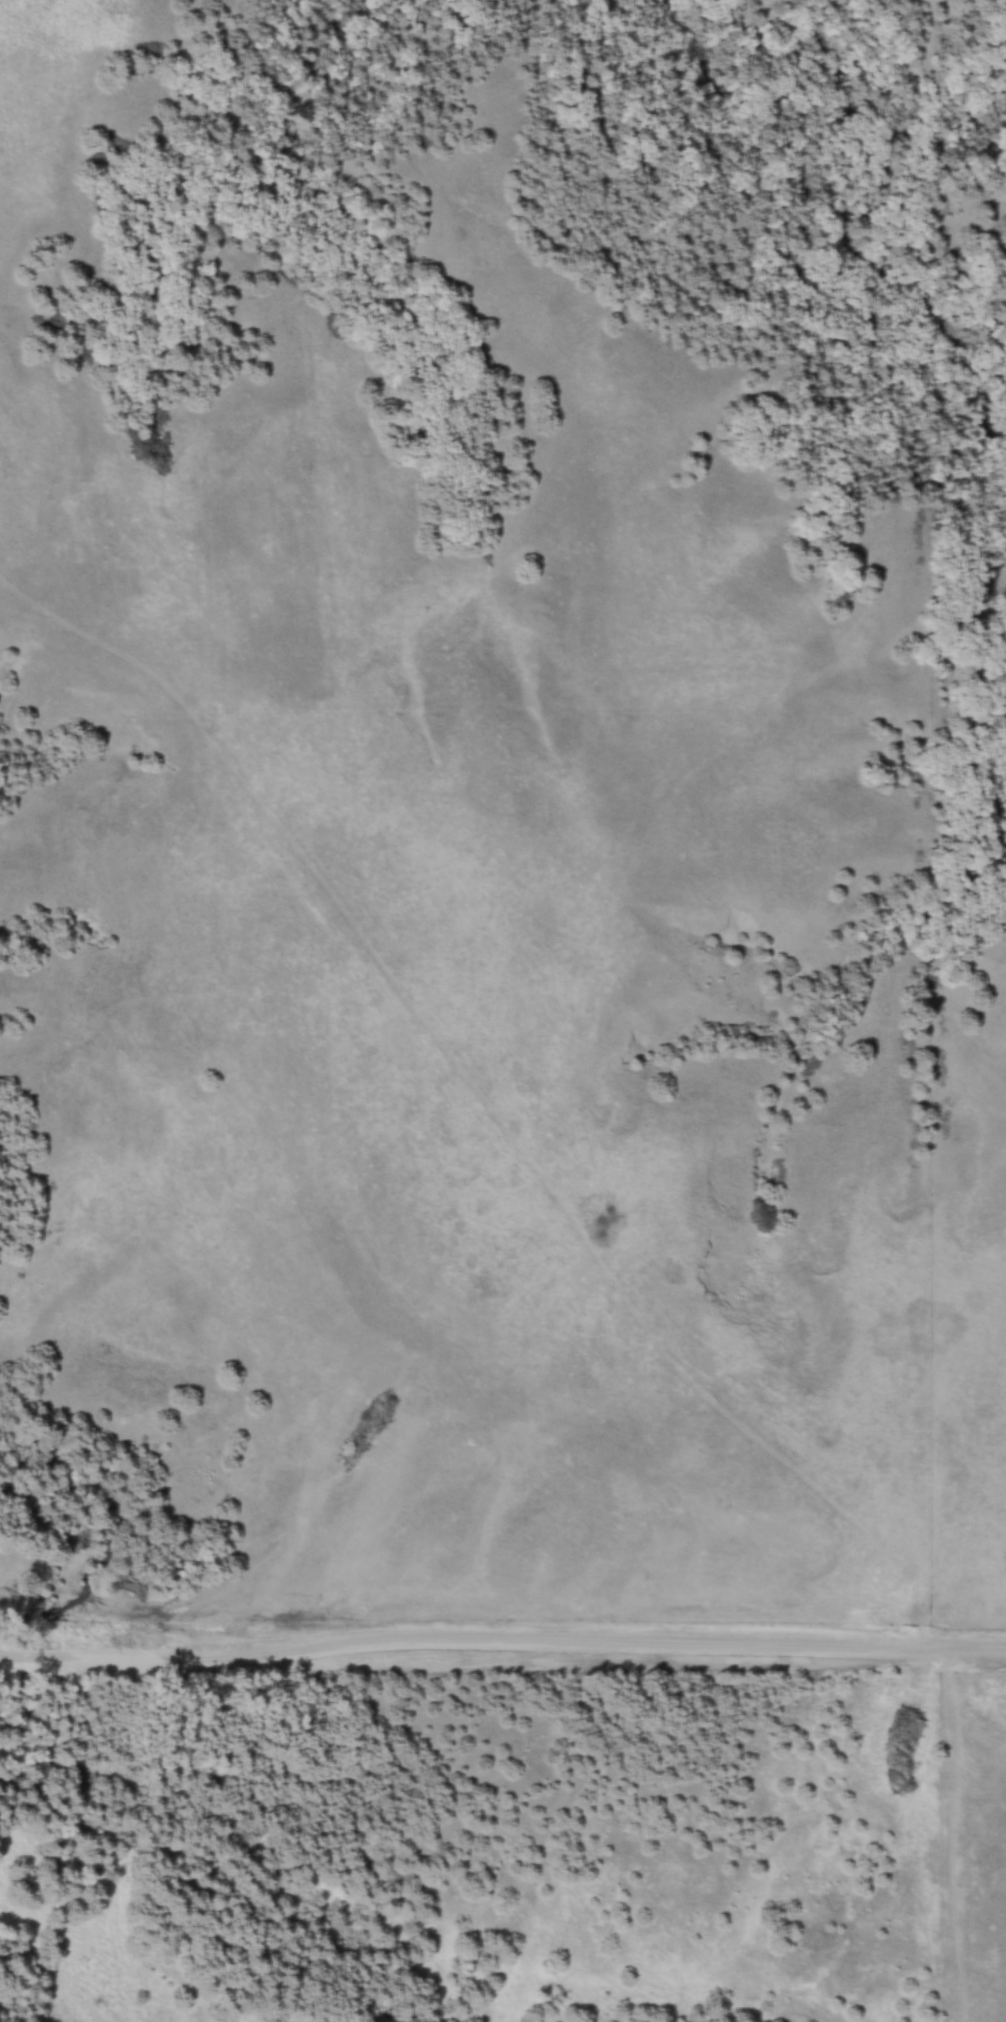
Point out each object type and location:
road: (502, 1646)

